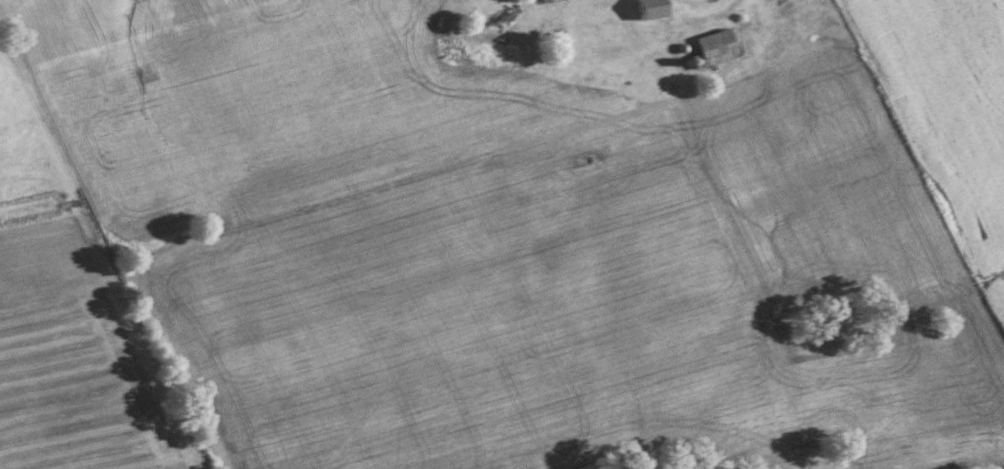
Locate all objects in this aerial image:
building: (550, 1)
building: (648, 8)
road: (727, 9)
building: (561, 39)
building: (718, 46)

